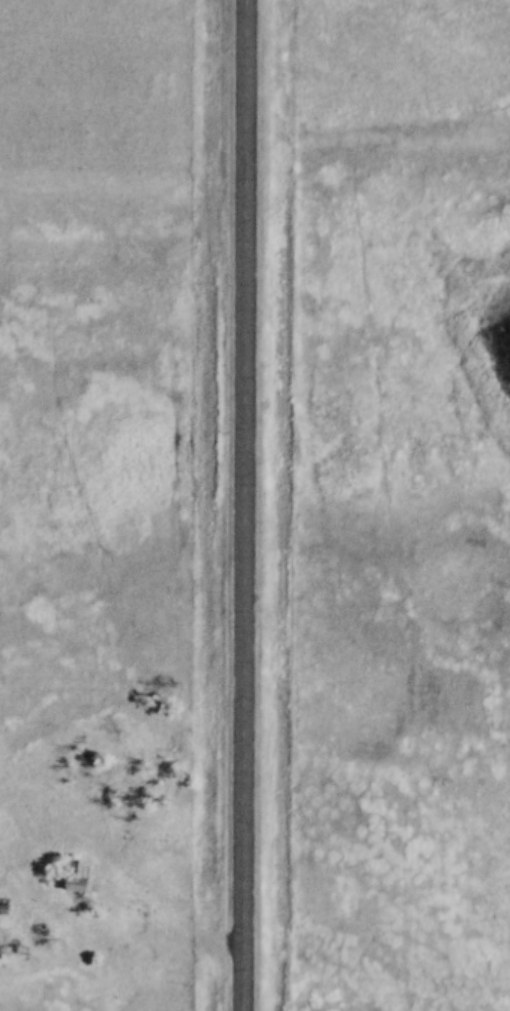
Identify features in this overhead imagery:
road: (244, 505)
road: (138, 885)

